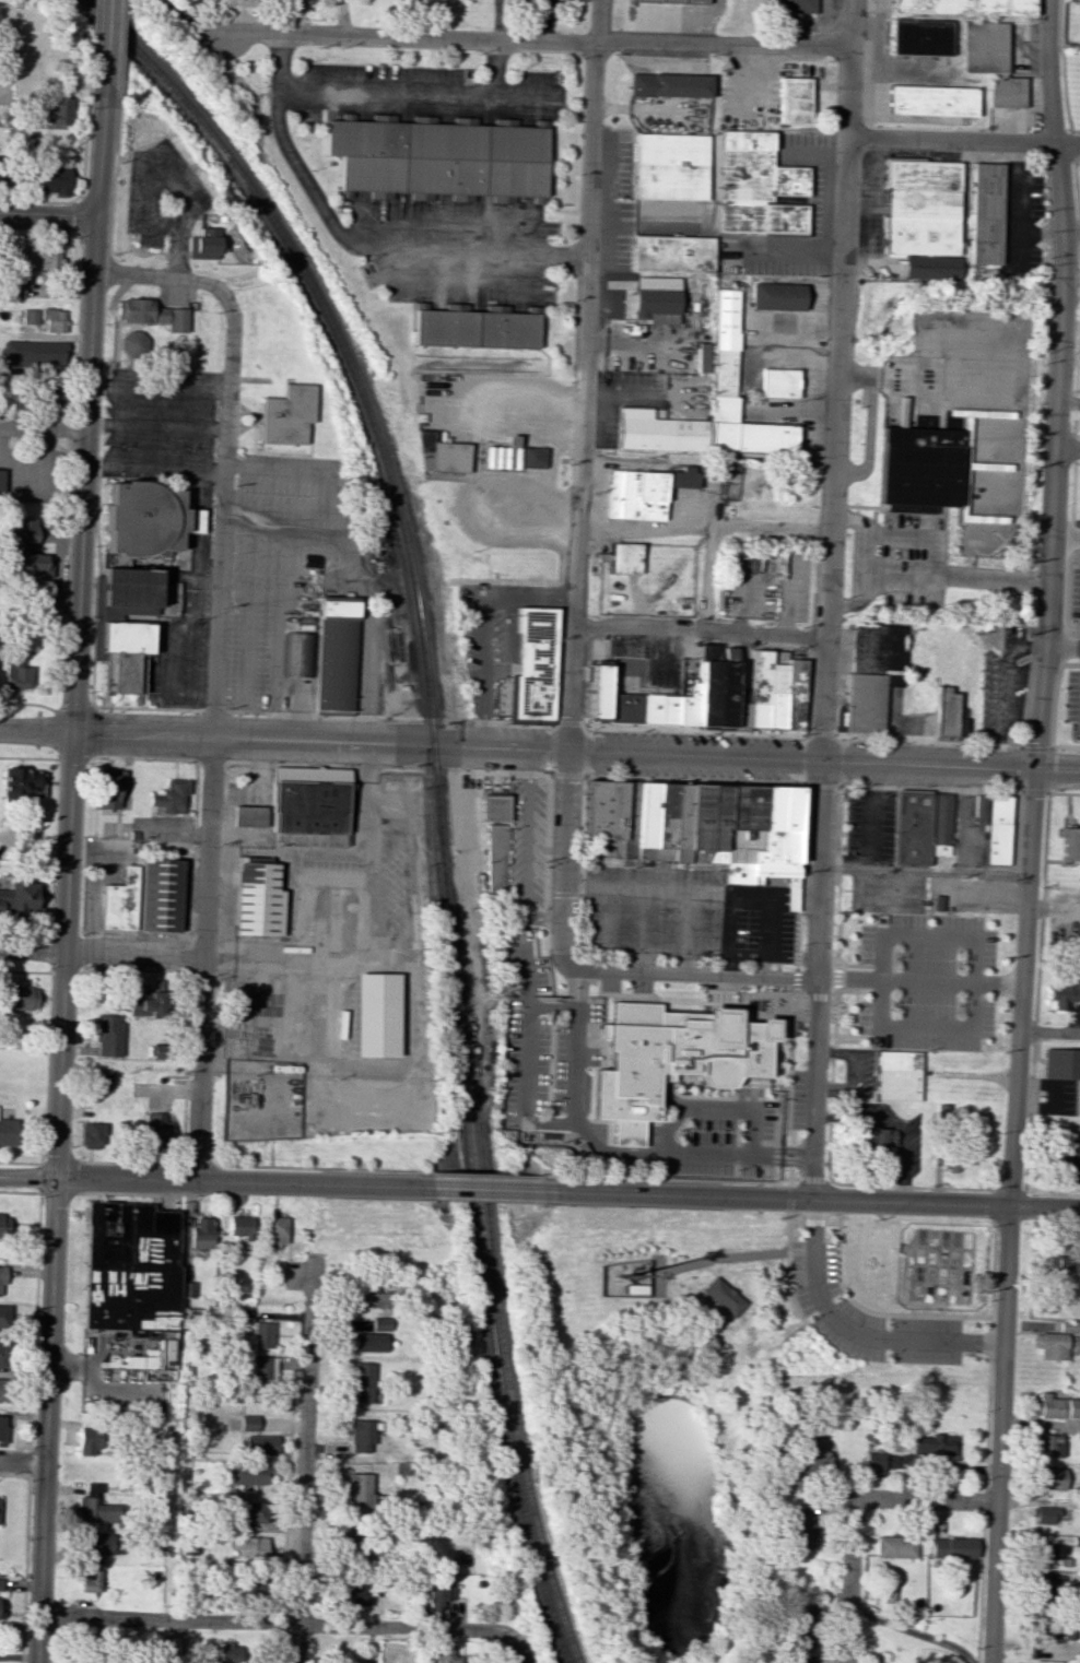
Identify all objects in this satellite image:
building: (674, 0)
building: (1073, 0)
building: (793, 5)
building: (964, 7)
road: (83, 25)
road: (120, 30)
building: (919, 37)
road: (538, 39)
road: (104, 40)
building: (990, 61)
road: (496, 67)
building: (669, 84)
road: (419, 94)
building: (793, 101)
building: (932, 101)
building: (58, 111)
road: (81, 125)
road: (962, 141)
road: (97, 150)
building: (438, 157)
road: (116, 162)
building: (669, 166)
building: (52, 180)
road: (150, 185)
building: (755, 186)
road: (42, 201)
road: (1016, 207)
building: (920, 208)
building: (654, 210)
building: (985, 212)
road: (47, 215)
road: (80, 219)
road: (714, 234)
road: (352, 241)
building: (202, 244)
road: (93, 245)
building: (670, 253)
building: (36, 258)
building: (931, 268)
road: (120, 273)
road: (168, 278)
road: (1070, 278)
building: (13, 288)
building: (777, 295)
building: (655, 299)
road: (1079, 309)
building: (151, 314)
building: (45, 318)
park: (162, 328)
building: (476, 328)
road: (79, 329)
road: (134, 337)
building: (132, 343)
building: (723, 344)
building: (30, 354)
building: (701, 357)
road: (113, 369)
road: (582, 376)
road: (835, 381)
building: (779, 382)
road: (1056, 385)
road: (159, 387)
road: (226, 390)
building: (48, 393)
road: (1078, 394)
road: (1067, 409)
building: (289, 414)
road: (869, 421)
road: (157, 425)
road: (45, 428)
building: (659, 432)
road: (1066, 448)
building: (444, 452)
building: (532, 457)
road: (155, 465)
building: (919, 468)
building: (728, 470)
road: (303, 474)
building: (682, 476)
building: (0, 482)
building: (636, 495)
road: (85, 502)
road: (873, 506)
road: (916, 514)
road: (282, 516)
road: (853, 519)
road: (188, 521)
road: (208, 522)
road: (719, 526)
road: (195, 529)
road: (646, 529)
road: (911, 536)
road: (350, 539)
road: (290, 555)
building: (623, 557)
flagpole: (177, 562)
road: (69, 565)
road: (162, 565)
road: (206, 571)
road: (296, 575)
building: (136, 577)
road: (98, 581)
road: (207, 586)
parking lot: (1075, 587)
road: (251, 593)
road: (218, 604)
road: (853, 604)
road: (1066, 604)
road: (480, 625)
road: (697, 629)
parking lot: (1013, 633)
road: (1063, 646)
road: (375, 649)
building: (298, 653)
building: (334, 656)
road: (247, 659)
road: (176, 660)
building: (535, 663)
road: (639, 668)
building: (870, 673)
building: (16, 674)
road: (1007, 677)
building: (758, 689)
building: (715, 691)
building: (596, 692)
road: (808, 692)
building: (794, 694)
parking lot: (1002, 694)
building: (776, 696)
parking lot: (1069, 698)
road: (30, 704)
road: (1078, 705)
building: (686, 706)
building: (739, 707)
building: (622, 708)
building: (658, 709)
building: (944, 711)
road: (324, 715)
building: (960, 721)
road: (696, 732)
road: (930, 743)
road: (1065, 747)
road: (540, 750)
road: (91, 754)
road: (30, 756)
road: (144, 759)
road: (211, 763)
road: (387, 769)
road: (552, 774)
road: (693, 779)
building: (21, 782)
railway: (437, 783)
road: (841, 788)
road: (858, 788)
building: (107, 789)
road: (952, 790)
road: (1024, 790)
road: (1064, 792)
building: (169, 795)
building: (981, 809)
building: (308, 812)
building: (603, 813)
building: (249, 815)
building: (629, 818)
building: (645, 819)
building: (664, 821)
building: (680, 822)
building: (697, 822)
building: (717, 823)
building: (940, 824)
road: (582, 825)
building: (912, 827)
building: (998, 829)
road: (481, 831)
building: (742, 831)
building: (777, 833)
road: (1047, 839)
building: (496, 841)
building: (1070, 845)
road: (527, 848)
road: (561, 861)
road: (1061, 861)
road: (56, 872)
road: (923, 872)
road: (837, 873)
road: (800, 875)
road: (996, 886)
road: (1063, 887)
road: (697, 891)
building: (789, 893)
building: (159, 895)
road: (556, 896)
road: (977, 897)
building: (21, 898)
building: (257, 899)
building: (119, 900)
road: (908, 905)
road: (1053, 909)
road: (869, 913)
road: (644, 921)
road: (685, 923)
road: (729, 923)
building: (1078, 935)
road: (102, 953)
road: (655, 955)
road: (791, 957)
road: (204, 958)
road: (191, 963)
road: (644, 964)
road: (684, 965)
road: (727, 966)
road: (759, 966)
road: (853, 968)
road: (685, 975)
road: (835, 978)
road: (833, 979)
road: (812, 980)
parking lot: (927, 983)
road: (943, 983)
road: (970, 986)
road: (853, 990)
building: (1061, 993)
road: (801, 996)
building: (17, 998)
road: (793, 998)
road: (721, 1002)
building: (144, 1004)
building: (374, 1014)
road: (761, 1014)
road: (858, 1015)
park: (917, 1026)
road: (1049, 1030)
building: (107, 1036)
road: (853, 1038)
road: (1033, 1039)
road: (1057, 1039)
building: (662, 1054)
building: (1060, 1063)
building: (894, 1075)
building: (101, 1078)
road: (759, 1085)
park: (1055, 1116)
road: (815, 1118)
building: (154, 1128)
building: (8, 1132)
building: (91, 1135)
building: (873, 1140)
road: (270, 1154)
road: (791, 1155)
building: (951, 1157)
building: (1067, 1159)
road: (1038, 1160)
road: (21, 1163)
road: (128, 1163)
road: (197, 1165)
road: (319, 1169)
road: (827, 1171)
road: (790, 1173)
road: (482, 1175)
road: (187, 1178)
road: (661, 1179)
road: (806, 1180)
road: (460, 1187)
road: (995, 1192)
road: (42, 1193)
road: (138, 1193)
road: (790, 1194)
road: (54, 1196)
road: (813, 1198)
road: (832, 1198)
road: (1008, 1216)
road: (836, 1218)
road: (813, 1219)
building: (2, 1225)
building: (236, 1225)
road: (921, 1226)
building: (273, 1229)
road: (960, 1229)
building: (200, 1234)
road: (952, 1248)
road: (735, 1254)
road: (786, 1264)
building: (1063, 1264)
road: (935, 1265)
road: (959, 1265)
building: (129, 1266)
road: (995, 1269)
road: (969, 1272)
railway: (495, 1278)
building: (1, 1279)
road: (917, 1282)
road: (944, 1285)
building: (367, 1294)
building: (723, 1296)
road: (35, 1300)
road: (903, 1302)
road: (942, 1304)
building: (3, 1317)
parking lot: (866, 1317)
road: (879, 1317)
building: (379, 1323)
building: (1069, 1326)
road: (853, 1331)
building: (261, 1334)
road: (991, 1336)
building: (367, 1342)
building: (1049, 1345)
building: (1, 1348)
building: (262, 1368)
park: (721, 1372)
building: (361, 1382)
building: (2, 1389)
building: (1055, 1406)
building: (248, 1423)
building: (2, 1427)
building: (360, 1435)
building: (87, 1437)
building: (259, 1444)
building: (932, 1444)
building: (1045, 1444)
road: (304, 1458)
road: (22, 1460)
building: (803, 1463)
building: (873, 1464)
building: (246, 1474)
building: (1048, 1478)
building: (357, 1489)
road: (926, 1499)
building: (96, 1507)
road: (985, 1510)
building: (249, 1511)
building: (1044, 1514)
building: (802, 1528)
building: (102, 1545)
building: (248, 1546)
building: (893, 1546)
building: (950, 1547)
building: (1048, 1550)
building: (90, 1580)
road: (846, 1580)
building: (0, 1581)
building: (249, 1587)
building: (1045, 1588)
building: (438, 1592)
building: (353, 1594)
building: (0, 1607)
road: (273, 1624)
building: (801, 1626)
building: (1045, 1627)
road: (517, 1648)
building: (227, 1653)
building: (446, 1654)
building: (800, 1659)

